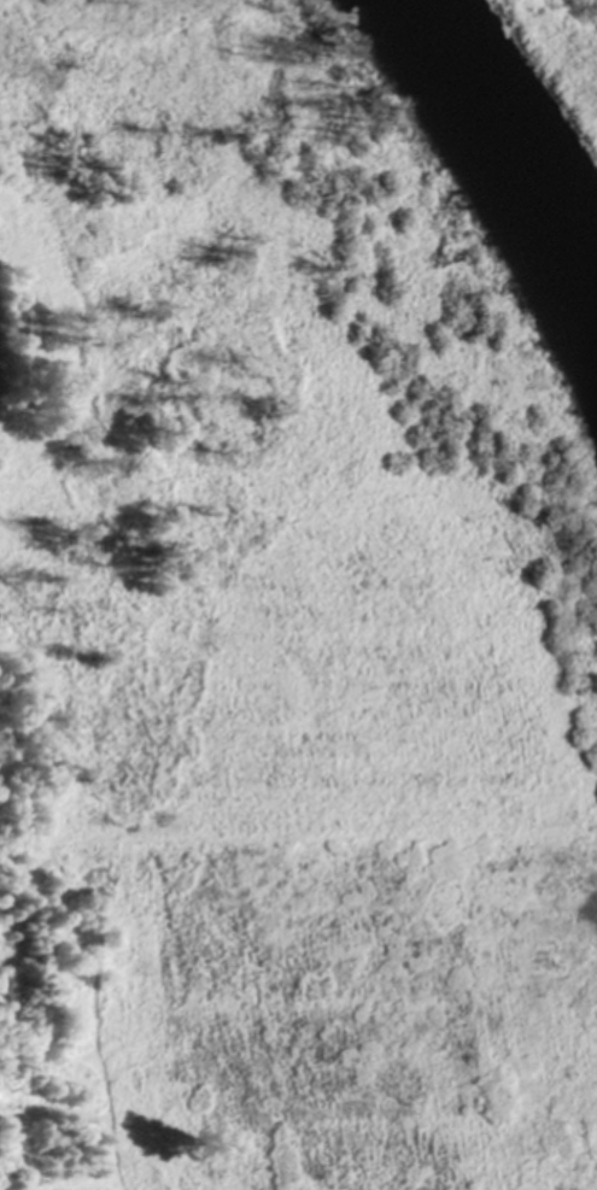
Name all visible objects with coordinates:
river: (510, 142)

